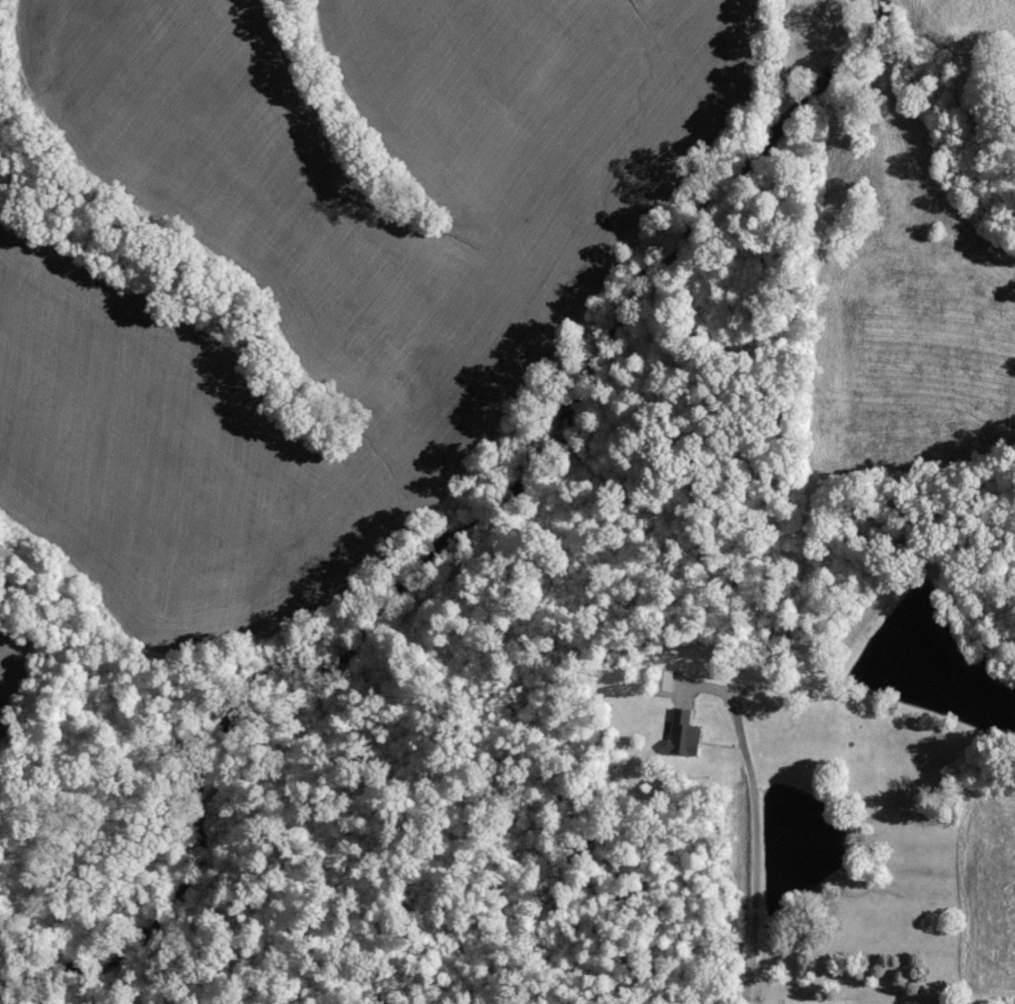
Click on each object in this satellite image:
building: (683, 732)
road: (750, 856)

